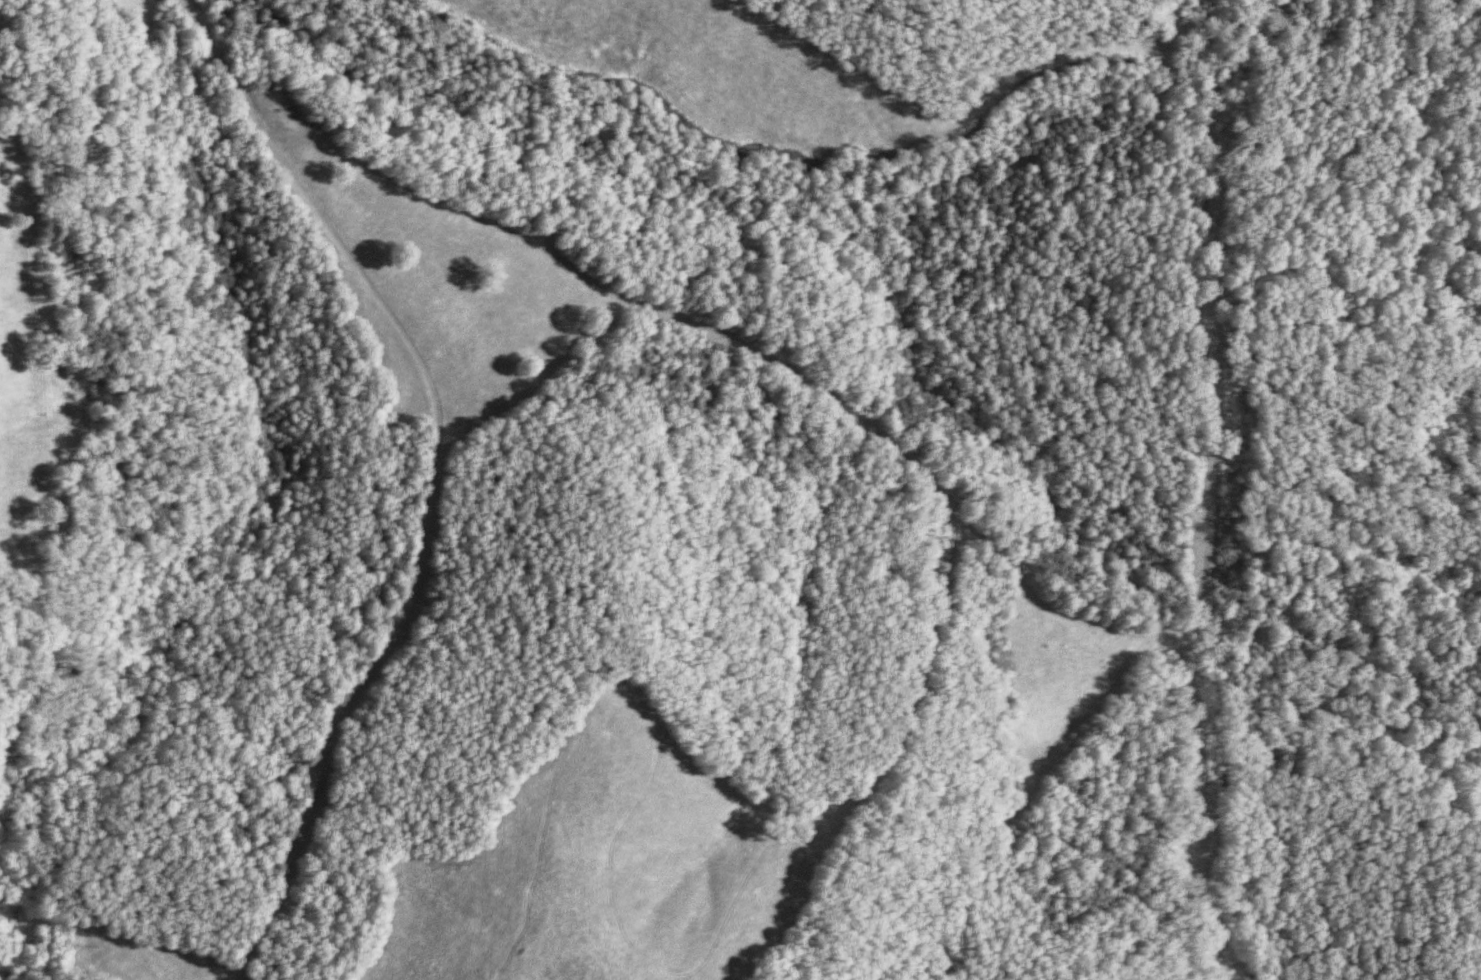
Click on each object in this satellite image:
road: (440, 475)

